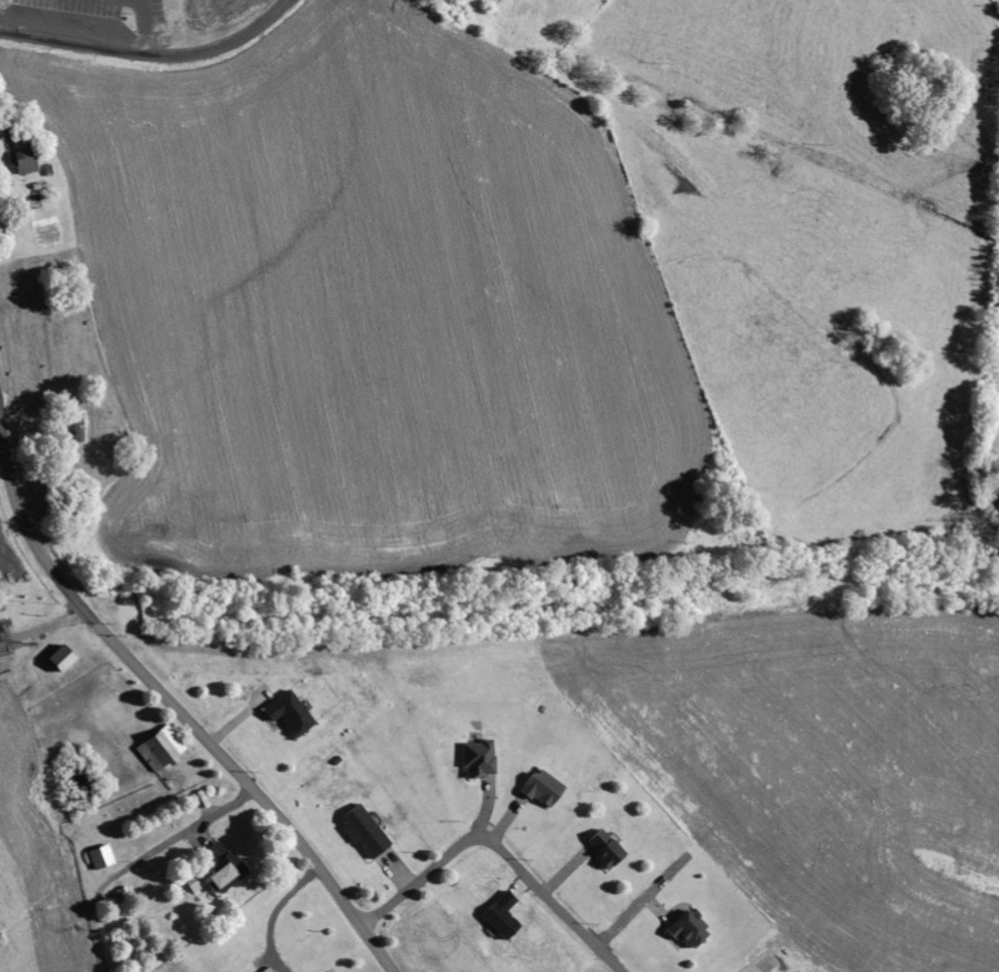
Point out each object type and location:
road: (152, 54)
building: (27, 162)
building: (68, 659)
road: (172, 704)
building: (294, 713)
building: (164, 750)
building: (482, 758)
building: (545, 787)
building: (368, 831)
building: (609, 848)
road: (499, 851)
building: (105, 857)
building: (229, 867)
building: (506, 915)
building: (692, 929)
building: (270, 970)

